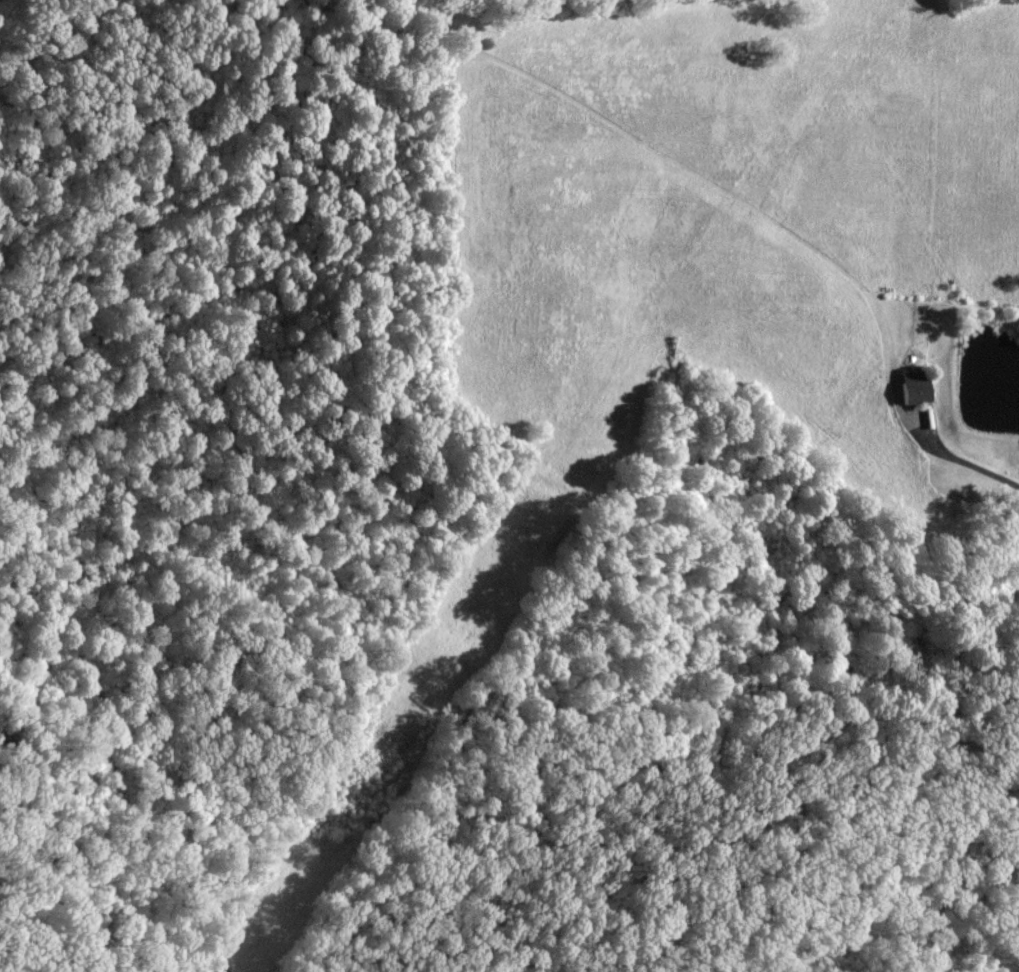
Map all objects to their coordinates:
building: (916, 385)

